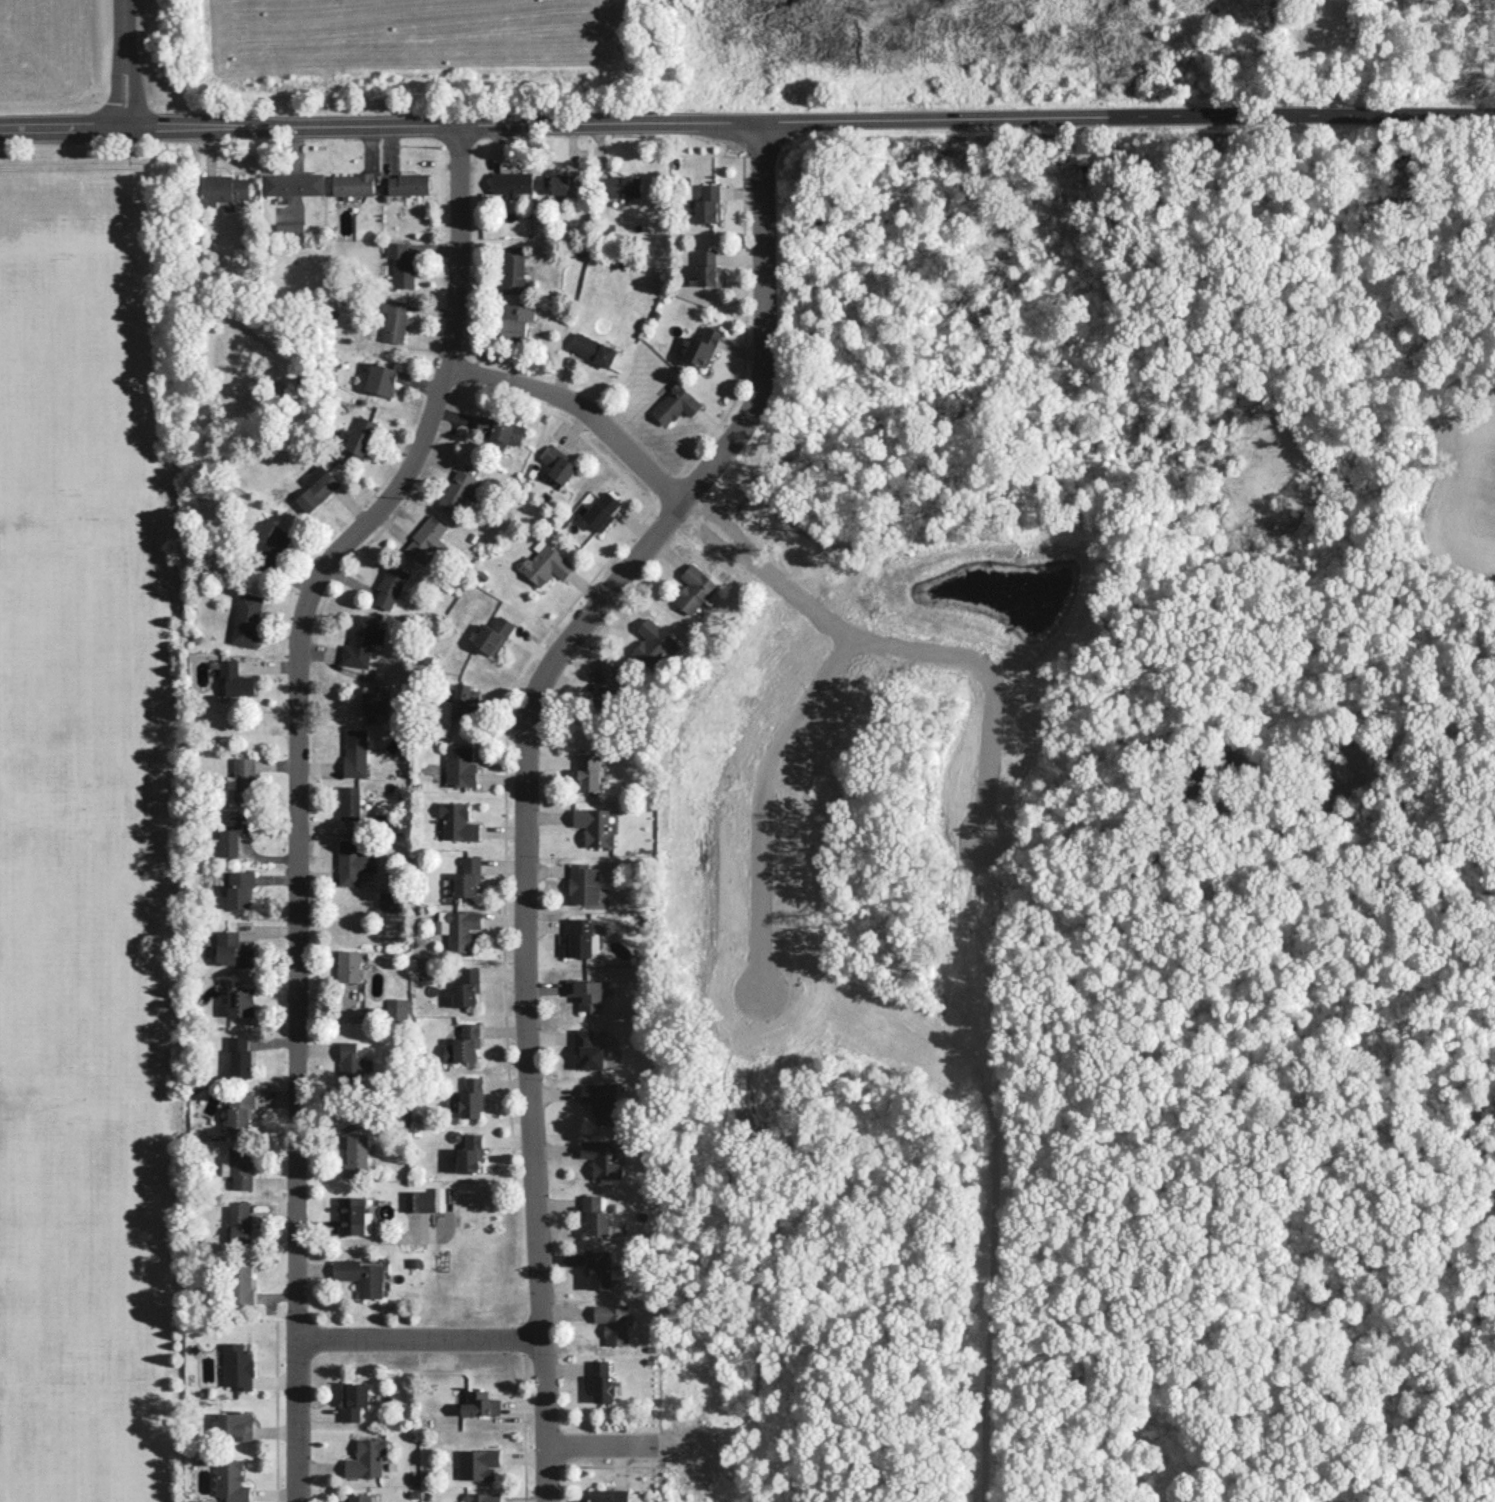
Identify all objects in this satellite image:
road: (126, 66)
road: (1343, 119)
road: (595, 123)
building: (511, 183)
building: (557, 183)
building: (293, 184)
building: (352, 184)
building: (408, 184)
building: (619, 186)
building: (223, 189)
building: (707, 205)
building: (289, 229)
building: (401, 263)
building: (707, 268)
building: (513, 270)
building: (393, 320)
building: (516, 322)
building: (702, 346)
building: (592, 349)
park: (72, 376)
building: (380, 379)
building: (675, 404)
road: (580, 408)
building: (499, 431)
building: (360, 435)
building: (558, 464)
building: (316, 487)
building: (457, 490)
building: (601, 511)
building: (427, 541)
building: (270, 552)
building: (545, 565)
building: (390, 585)
building: (694, 589)
building: (246, 619)
building: (492, 635)
building: (362, 641)
building: (654, 645)
park: (81, 665)
building: (235, 679)
building: (605, 685)
building: (463, 701)
building: (375, 702)
building: (355, 753)
building: (459, 766)
building: (588, 771)
road: (524, 772)
building: (244, 779)
road: (300, 789)
building: (349, 802)
building: (456, 821)
building: (594, 827)
building: (233, 835)
building: (352, 862)
building: (467, 877)
building: (583, 884)
building: (240, 888)
building: (389, 900)
building: (461, 929)
building: (578, 937)
building: (232, 950)
park: (83, 954)
building: (348, 965)
building: (465, 986)
building: (585, 993)
building: (240, 1001)
building: (395, 1010)
building: (348, 1014)
building: (463, 1044)
building: (587, 1050)
building: (239, 1056)
building: (350, 1064)
building: (471, 1098)
building: (600, 1101)
building: (239, 1110)
building: (470, 1152)
building: (356, 1153)
building: (602, 1158)
building: (241, 1168)
building: (419, 1200)
building: (351, 1215)
building: (595, 1216)
building: (240, 1221)
road: (366, 1239)
park: (79, 1240)
building: (598, 1269)
building: (360, 1276)
building: (241, 1283)
building: (613, 1322)
road: (419, 1339)
building: (237, 1366)
building: (601, 1382)
building: (353, 1400)
building: (479, 1404)
building: (236, 1424)
road: (616, 1448)
park: (81, 1456)
building: (366, 1458)
building: (475, 1462)
building: (231, 1481)
building: (607, 1495)
building: (357, 1497)
building: (481, 1497)

